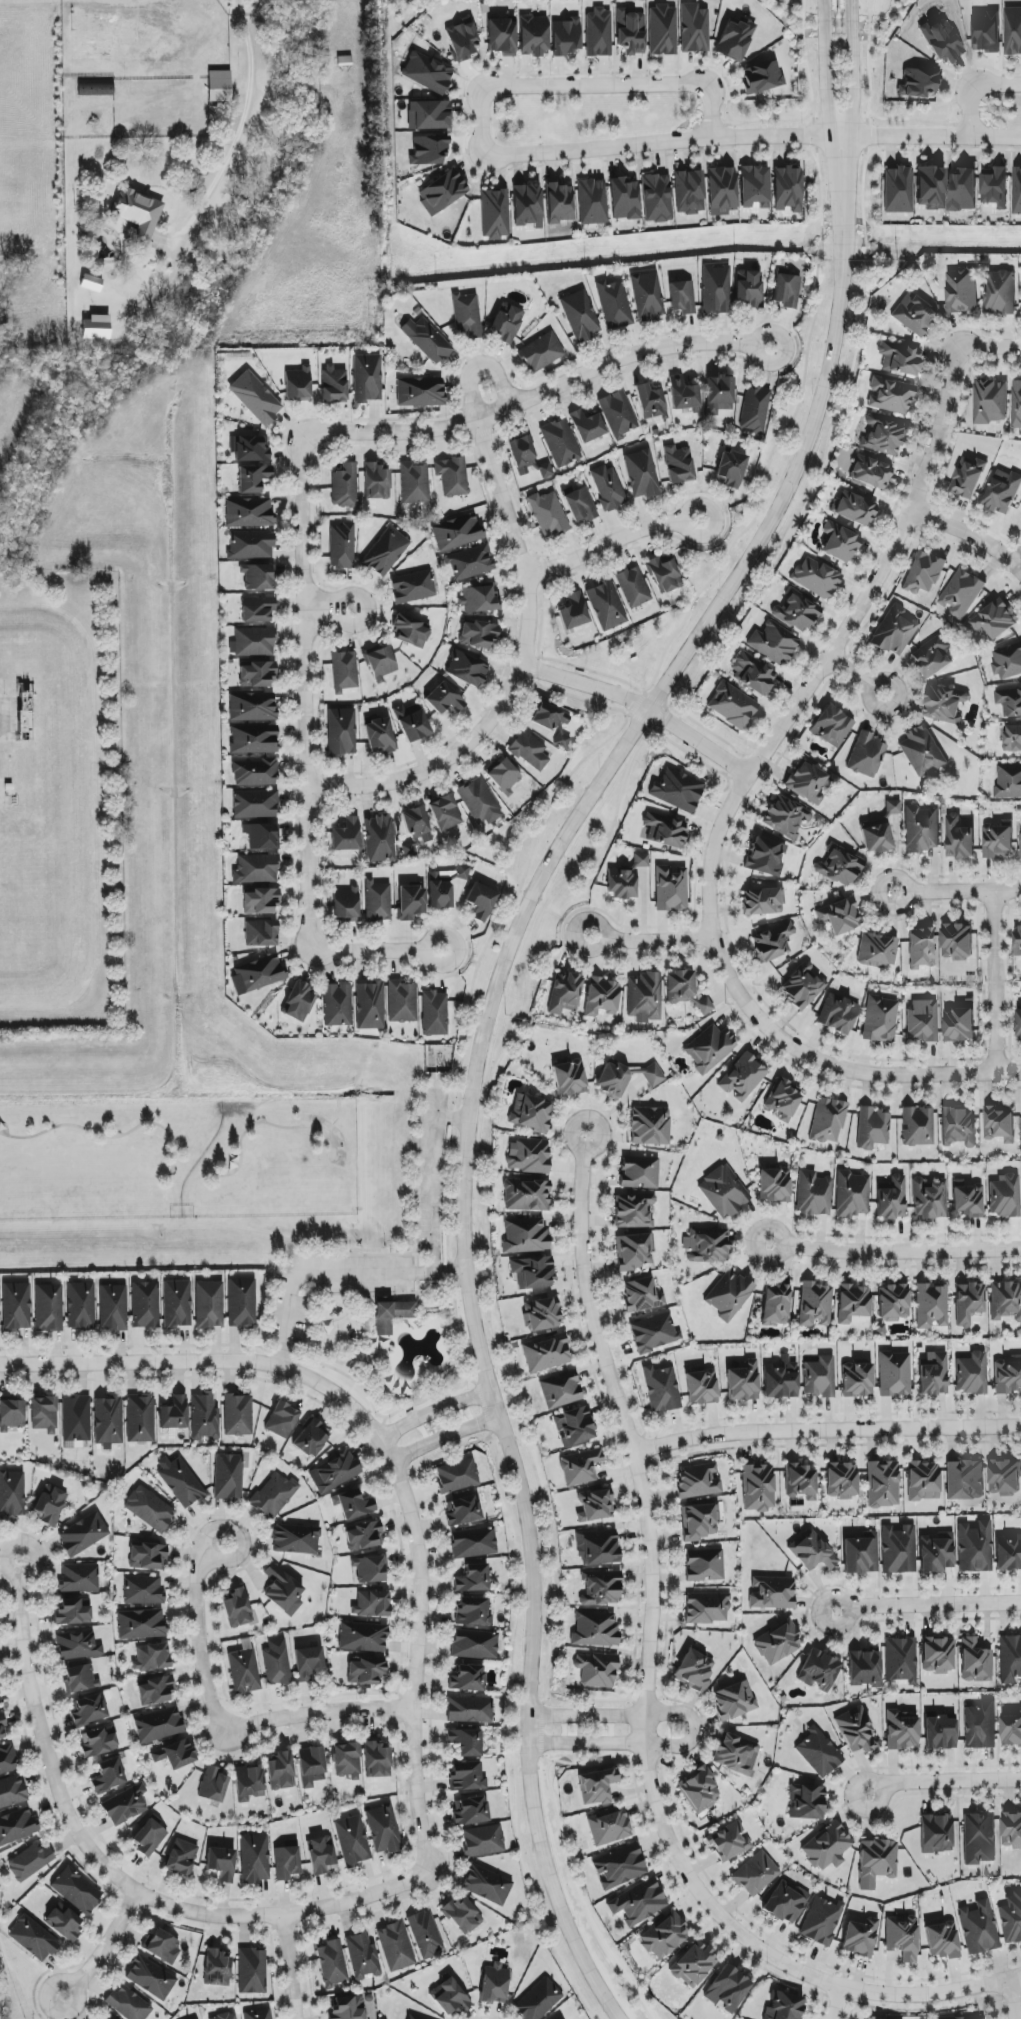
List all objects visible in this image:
road: (850, 17)
building: (694, 29)
building: (662, 30)
building: (1013, 31)
building: (630, 32)
building: (988, 32)
building: (598, 33)
building: (501, 36)
building: (533, 36)
building: (565, 37)
building: (735, 39)
building: (462, 40)
building: (942, 40)
road: (825, 69)
building: (427, 72)
building: (763, 77)
building: (920, 83)
building: (219, 86)
road: (587, 86)
road: (851, 86)
road: (970, 86)
road: (246, 104)
building: (429, 115)
road: (930, 137)
road: (660, 142)
building: (428, 151)
building: (754, 187)
building: (995, 187)
building: (787, 188)
building: (930, 188)
building: (897, 190)
building: (963, 190)
building: (721, 191)
building: (1017, 191)
building: (441, 192)
building: (689, 192)
building: (657, 198)
building: (624, 199)
building: (592, 202)
building: (559, 203)
building: (527, 205)
building: (138, 213)
building: (494, 214)
building: (91, 283)
building: (750, 289)
building: (786, 289)
building: (715, 290)
building: (962, 291)
building: (1000, 294)
building: (681, 295)
building: (647, 296)
building: (613, 304)
building: (466, 315)
building: (914, 315)
building: (580, 316)
building: (506, 324)
building: (95, 327)
building: (427, 340)
building: (541, 353)
road: (987, 353)
building: (900, 358)
road: (475, 366)
building: (366, 378)
building: (298, 384)
building: (333, 384)
building: (419, 392)
road: (538, 394)
building: (683, 394)
building: (718, 395)
building: (890, 396)
building: (257, 399)
building: (991, 401)
building: (650, 402)
building: (1016, 405)
building: (755, 410)
building: (618, 415)
building: (587, 426)
building: (882, 436)
building: (560, 443)
building: (249, 449)
building: (526, 458)
building: (678, 464)
building: (730, 469)
building: (870, 472)
building: (642, 474)
building: (452, 476)
building: (253, 478)
building: (970, 479)
building: (376, 481)
building: (414, 483)
building: (344, 486)
building: (608, 488)
building: (1004, 492)
building: (580, 505)
building: (856, 510)
building: (249, 512)
building: (548, 514)
building: (457, 533)
road: (970, 534)
road: (613, 541)
building: (839, 542)
building: (251, 545)
building: (341, 546)
building: (387, 553)
road: (1017, 560)
building: (470, 562)
building: (924, 572)
building: (664, 575)
building: (257, 577)
building: (816, 577)
building: (412, 587)
building: (633, 587)
building: (962, 593)
building: (479, 599)
building: (606, 605)
building: (257, 609)
road: (328, 609)
building: (573, 612)
building: (797, 612)
building: (996, 619)
building: (410, 631)
building: (895, 631)
building: (478, 634)
building: (253, 642)
building: (774, 643)
building: (932, 658)
building: (1007, 661)
building: (381, 664)
building: (466, 669)
building: (344, 671)
road: (850, 672)
road: (518, 673)
building: (752, 673)
building: (257, 674)
road: (305, 694)
road: (868, 697)
building: (443, 698)
building: (1009, 700)
building: (731, 705)
building: (945, 705)
road: (642, 706)
building: (252, 707)
building: (552, 723)
building: (411, 724)
building: (832, 727)
building: (341, 732)
building: (379, 736)
building: (1012, 738)
building: (253, 739)
building: (922, 750)
building: (529, 751)
building: (866, 755)
building: (255, 772)
building: (504, 777)
building: (1008, 781)
building: (806, 782)
building: (677, 790)
wastewater plant: (61, 800)
building: (479, 802)
building: (255, 804)
road: (732, 804)
building: (893, 807)
building: (445, 813)
building: (785, 817)
building: (1020, 823)
building: (416, 825)
building: (921, 829)
building: (664, 830)
building: (261, 836)
building: (346, 836)
building: (379, 838)
building: (876, 838)
building: (959, 839)
building: (998, 841)
building: (409, 851)
building: (766, 857)
building: (839, 866)
building: (256, 869)
building: (626, 879)
building: (444, 887)
building: (671, 888)
road: (956, 891)
building: (260, 901)
building: (377, 901)
building: (481, 901)
building: (763, 901)
building: (411, 902)
building: (345, 905)
building: (839, 916)
building: (261, 933)
road: (653, 941)
building: (1017, 941)
building: (772, 942)
building: (957, 942)
building: (922, 947)
road: (377, 951)
building: (877, 951)
road: (458, 957)
building: (257, 974)
road: (994, 982)
building: (680, 986)
building: (803, 986)
road: (471, 989)
building: (564, 993)
building: (644, 996)
building: (602, 997)
building: (299, 1002)
building: (401, 1002)
building: (337, 1005)
building: (369, 1006)
building: (705, 1006)
building: (434, 1014)
building: (837, 1014)
building: (880, 1019)
building: (922, 1020)
building: (959, 1024)
building: (1019, 1024)
road: (479, 1048)
building: (708, 1048)
road: (432, 1073)
building: (653, 1075)
building: (569, 1078)
building: (742, 1078)
building: (612, 1079)
building: (782, 1100)
building: (530, 1113)
road: (454, 1119)
building: (828, 1121)
building: (999, 1123)
building: (650, 1126)
building: (959, 1126)
building: (918, 1127)
building: (872, 1128)
road: (131, 1130)
road: (241, 1137)
building: (528, 1156)
parking lot: (430, 1169)
building: (639, 1172)
road: (434, 1181)
building: (774, 1185)
building: (724, 1192)
building: (813, 1194)
building: (852, 1194)
building: (526, 1195)
building: (1005, 1196)
building: (967, 1197)
building: (891, 1198)
building: (929, 1198)
building: (634, 1211)
road: (281, 1234)
building: (525, 1235)
building: (707, 1245)
road: (892, 1249)
building: (634, 1252)
road: (362, 1255)
building: (533, 1273)
road: (336, 1275)
road: (415, 1276)
parking lot: (332, 1286)
building: (641, 1295)
building: (728, 1295)
building: (1006, 1301)
building: (241, 1303)
building: (776, 1303)
building: (893, 1303)
building: (177, 1304)
building: (815, 1304)
building: (853, 1304)
building: (969, 1304)
building: (145, 1305)
building: (209, 1305)
building: (16, 1306)
building: (80, 1306)
building: (931, 1306)
building: (113, 1307)
building: (48, 1308)
building: (543, 1314)
building: (391, 1315)
road: (342, 1320)
building: (339, 1322)
building: (654, 1332)
building: (546, 1353)
building: (894, 1374)
building: (933, 1374)
building: (973, 1374)
building: (1007, 1375)
building: (819, 1377)
building: (857, 1380)
building: (743, 1381)
building: (781, 1381)
building: (701, 1386)
building: (662, 1389)
building: (560, 1390)
road: (481, 1398)
road: (411, 1405)
road: (434, 1411)
building: (44, 1414)
building: (174, 1414)
building: (11, 1415)
building: (238, 1415)
building: (76, 1419)
building: (141, 1419)
building: (205, 1419)
building: (282, 1419)
building: (108, 1421)
building: (574, 1426)
road: (382, 1427)
road: (827, 1430)
road: (445, 1437)
building: (312, 1438)
road: (388, 1454)
building: (580, 1467)
building: (335, 1471)
building: (457, 1476)
building: (228, 1477)
building: (1005, 1477)
building: (965, 1480)
building: (180, 1481)
building: (698, 1481)
building: (841, 1481)
building: (923, 1481)
building: (801, 1482)
building: (883, 1484)
building: (758, 1487)
building: (12, 1494)
building: (274, 1495)
building: (353, 1504)
building: (594, 1504)
building: (50, 1506)
building: (150, 1509)
building: (464, 1511)
building: (700, 1521)
building: (83, 1535)
road: (240, 1535)
building: (363, 1536)
building: (295, 1539)
building: (473, 1543)
building: (975, 1547)
building: (597, 1548)
building: (898, 1550)
building: (812, 1552)
building: (937, 1553)
building: (1008, 1553)
building: (861, 1554)
building: (147, 1557)
building: (705, 1565)
building: (370, 1569)
building: (79, 1578)
building: (472, 1579)
building: (601, 1589)
building: (143, 1590)
building: (283, 1590)
building: (772, 1593)
building: (370, 1604)
road: (927, 1605)
building: (707, 1608)
building: (237, 1609)
building: (73, 1612)
building: (472, 1612)
building: (140, 1624)
building: (595, 1629)
building: (362, 1637)
building: (778, 1643)
building: (77, 1645)
building: (474, 1645)
building: (938, 1655)
building: (151, 1657)
building: (901, 1660)
building: (976, 1660)
building: (1010, 1660)
building: (276, 1662)
building: (308, 1662)
building: (864, 1668)
building: (596, 1670)
building: (695, 1670)
building: (819, 1670)
building: (244, 1671)
building: (365, 1671)
building: (81, 1678)
building: (467, 1678)
building: (155, 1690)
road: (647, 1690)
building: (734, 1701)
building: (88, 1710)
building: (469, 1710)
building: (158, 1724)
building: (982, 1726)
building: (3, 1728)
road: (230, 1728)
road: (693, 1729)
building: (1011, 1730)
building: (856, 1731)
building: (901, 1731)
building: (940, 1733)
building: (465, 1742)
building: (97, 1743)
building: (176, 1754)
building: (735, 1754)
building: (819, 1754)
building: (376, 1759)
building: (8, 1760)
building: (347, 1761)
building: (311, 1766)
building: (281, 1771)
building: (108, 1776)
building: (466, 1777)
road: (942, 1782)
building: (249, 1783)
building: (213, 1784)
building: (596, 1787)
building: (700, 1790)
building: (12, 1791)
building: (807, 1803)
building: (125, 1805)
building: (471, 1811)
building: (17, 1826)
building: (609, 1827)
building: (383, 1829)
building: (1011, 1830)
building: (936, 1833)
building: (149, 1838)
building: (980, 1838)
building: (352, 1841)
building: (483, 1841)
building: (729, 1842)
building: (827, 1846)
building: (321, 1855)
building: (181, 1857)
building: (254, 1858)
building: (30, 1861)
building: (877, 1862)
building: (222, 1863)
building: (286, 1863)
building: (619, 1866)
road: (119, 1867)
building: (756, 1874)
building: (486, 1885)
building: (77, 1891)
building: (638, 1903)
building: (786, 1903)
building: (462, 1916)
building: (1011, 1918)
building: (821, 1921)
building: (64, 1923)
building: (980, 1928)
building: (425, 1934)
building: (664, 1936)
building: (860, 1937)
building: (902, 1937)
building: (33, 1939)
building: (942, 1940)
road: (100, 1943)
building: (396, 1946)
building: (163, 1947)
building: (362, 1956)
building: (332, 1964)
building: (694, 1965)
road: (288, 1967)
building: (217, 1968)
building: (252, 1971)
building: (151, 1978)
building: (494, 1984)
building: (728, 1990)
building: (451, 1998)
road: (1012, 1999)
building: (540, 2003)
road: (838, 2003)
building: (129, 2004)
building: (785, 2006)
building: (347, 2008)
building: (259, 2014)
building: (225, 2016)
building: (961, 2016)
building: (413, 2017)
building: (197, 2018)

